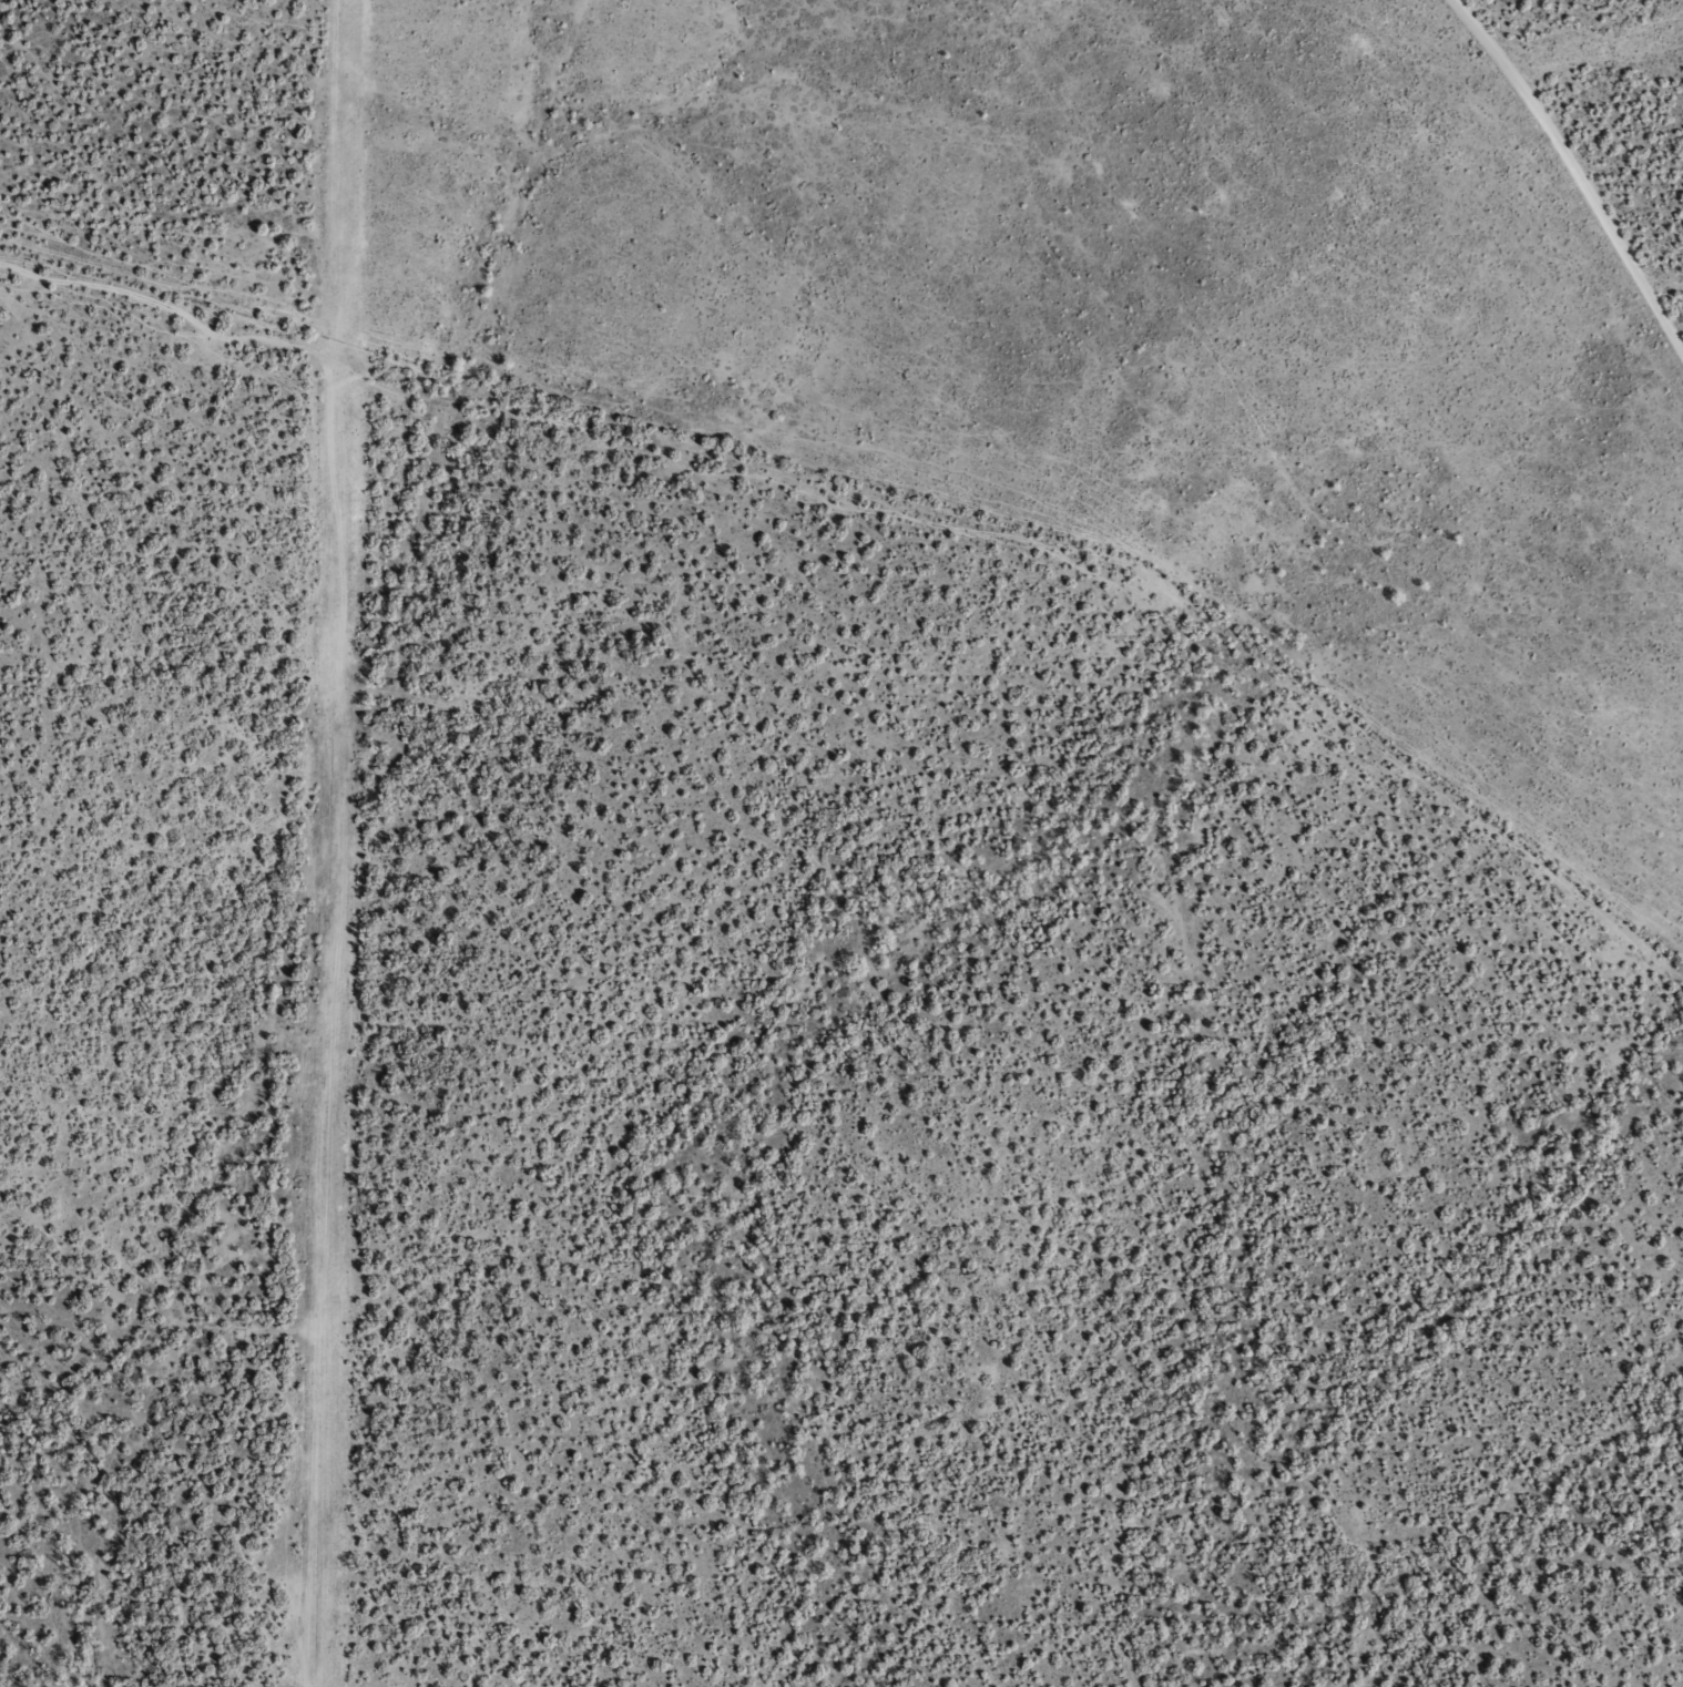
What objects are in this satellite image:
road: (1573, 178)

